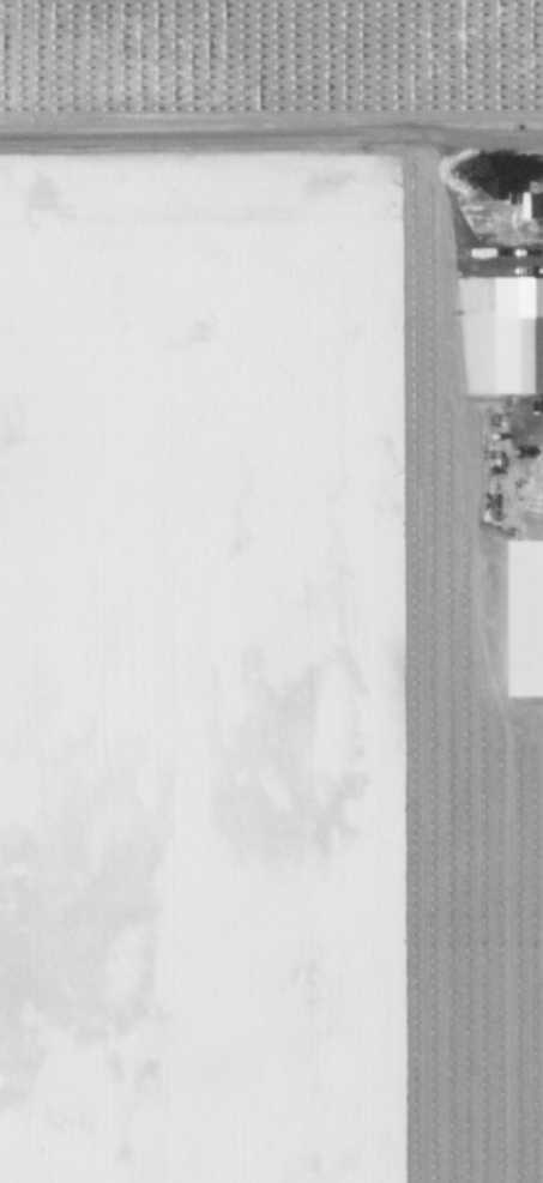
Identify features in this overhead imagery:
road: (274, 150)
building: (485, 187)
building: (532, 204)
building: (519, 333)
crop: (271, 591)

